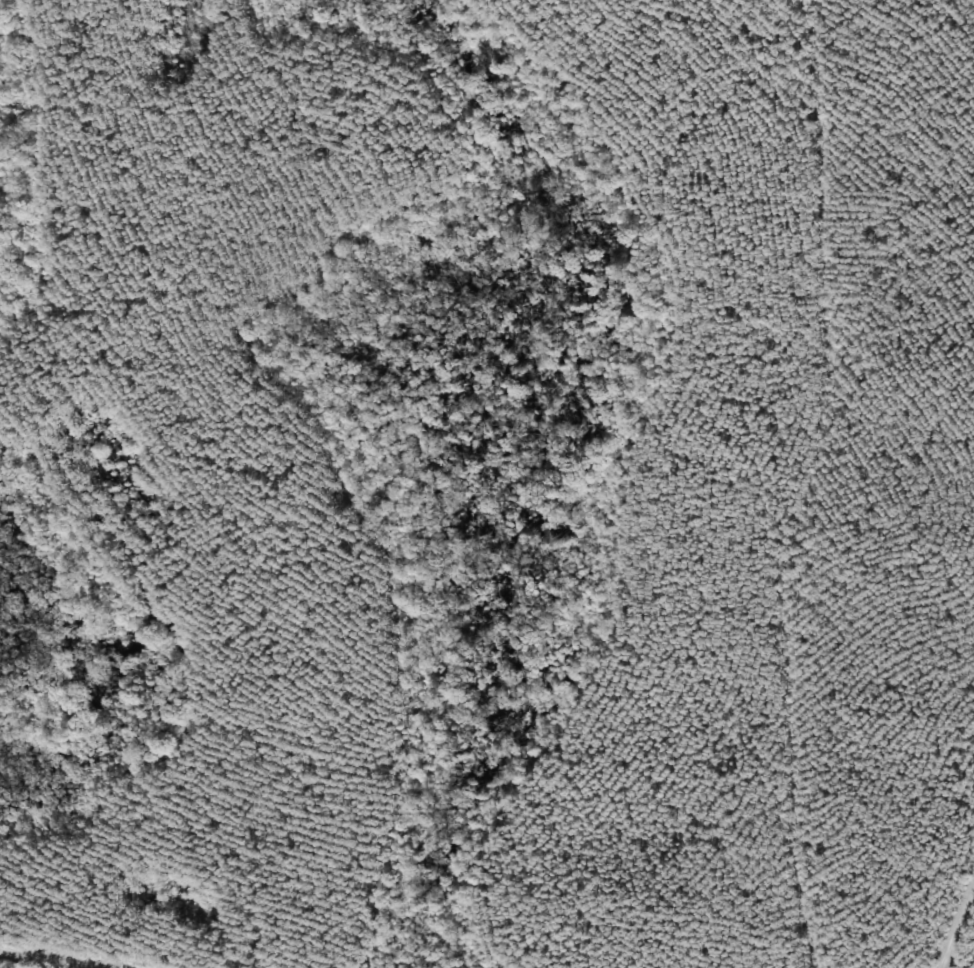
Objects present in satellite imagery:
road: (959, 929)

